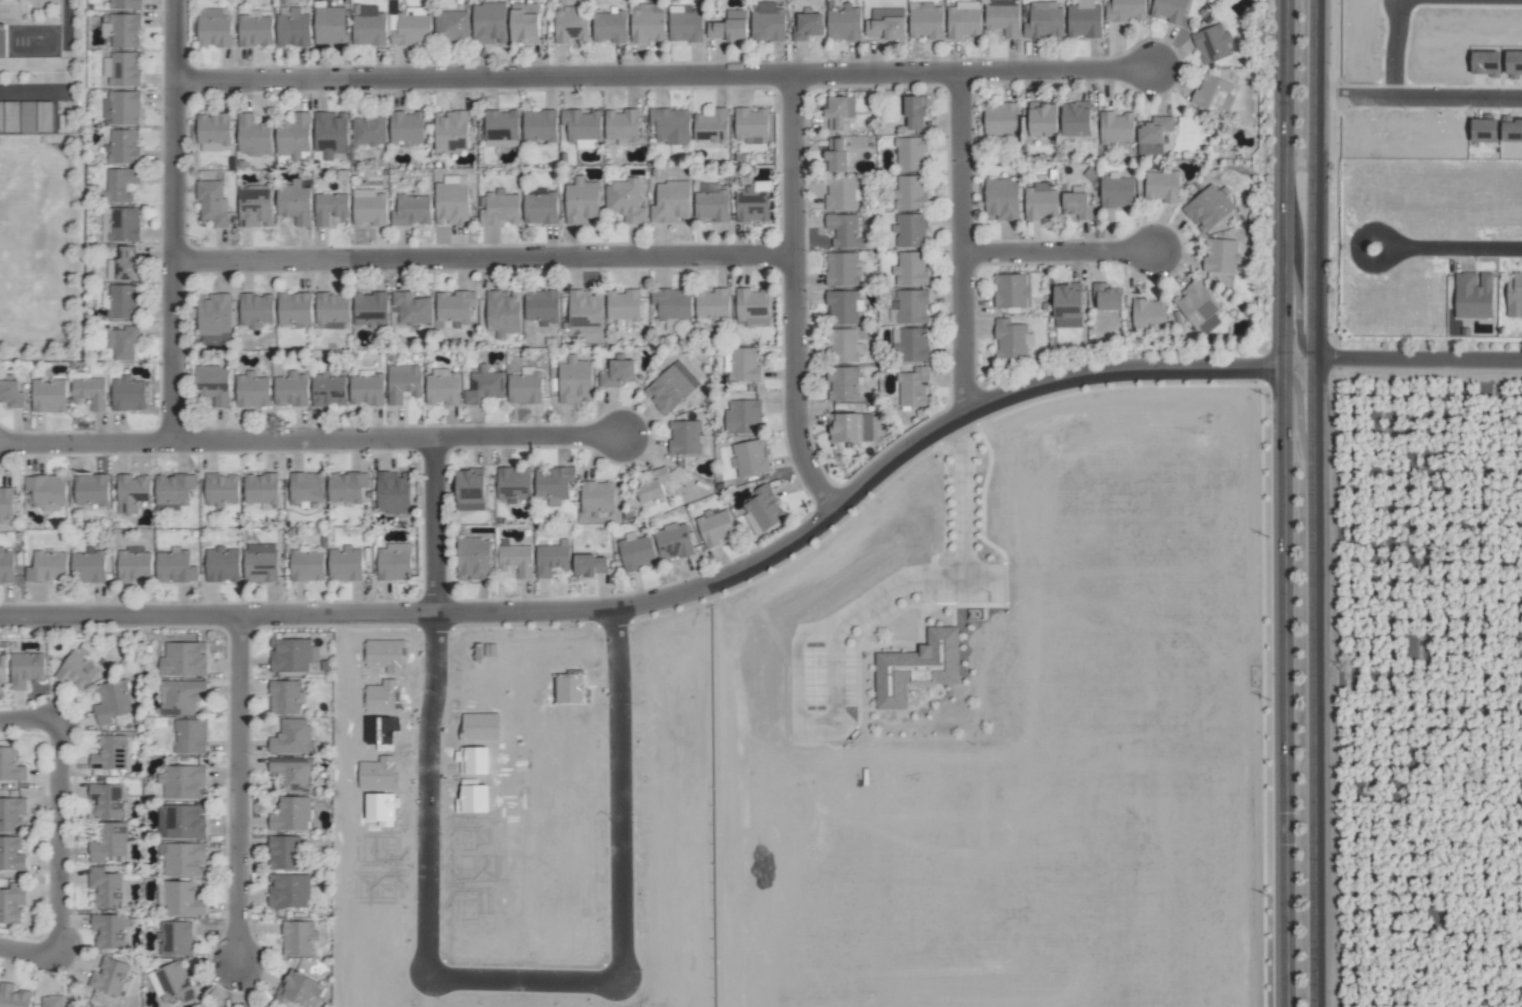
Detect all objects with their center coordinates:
building: (124, 4)
building: (1126, 10)
building: (1170, 10)
building: (1003, 19)
building: (1084, 19)
building: (926, 20)
building: (1044, 20)
building: (963, 21)
building: (489, 22)
building: (768, 22)
building: (647, 23)
building: (844, 23)
building: (887, 23)
building: (685, 24)
building: (329, 25)
building: (368, 25)
building: (571, 25)
building: (524, 26)
building: (609, 26)
building: (729, 26)
building: (808, 26)
building: (214, 27)
building: (451, 27)
building: (292, 28)
building: (122, 30)
building: (255, 30)
building: (1212, 43)
road: (66, 45)
building: (2, 47)
road: (1391, 49)
building: (122, 69)
road: (665, 75)
building: (1212, 92)
road: (1418, 99)
building: (122, 107)
building: (838, 111)
building: (915, 111)
building: (1001, 119)
building: (1043, 119)
building: (1077, 119)
building: (582, 124)
building: (621, 124)
building: (539, 125)
building: (711, 125)
building: (750, 125)
building: (671, 126)
building: (406, 127)
building: (213, 128)
building: (501, 128)
building: (369, 129)
building: (1116, 129)
building: (450, 131)
building: (330, 133)
building: (1155, 133)
building: (294, 134)
building: (253, 135)
building: (123, 146)
building: (836, 154)
building: (911, 154)
building: (120, 184)
building: (1162, 186)
building: (1117, 191)
building: (911, 192)
building: (842, 193)
building: (1002, 199)
building: (582, 200)
building: (625, 200)
building: (293, 202)
building: (1041, 202)
building: (212, 203)
building: (451, 203)
building: (671, 203)
building: (711, 205)
building: (752, 205)
building: (1078, 205)
building: (255, 206)
building: (369, 207)
building: (540, 207)
building: (330, 208)
building: (1209, 208)
building: (412, 210)
road: (175, 220)
building: (123, 225)
building: (911, 230)
building: (844, 231)
road: (963, 243)
road: (1357, 249)
road: (1463, 249)
road: (1059, 251)
road: (485, 256)
building: (1222, 256)
building: (124, 264)
building: (842, 269)
building: (911, 269)
building: (1013, 290)
building: (1474, 295)
building: (1514, 295)
road: (795, 297)
building: (1108, 297)
building: (713, 299)
building: (123, 301)
building: (582, 301)
building: (672, 303)
building: (624, 305)
building: (1068, 305)
building: (912, 306)
building: (1199, 306)
building: (454, 307)
building: (753, 307)
building: (844, 307)
building: (332, 308)
building: (370, 308)
building: (412, 308)
building: (294, 309)
building: (255, 310)
building: (503, 313)
building: (1149, 313)
road: (1297, 314)
building: (214, 316)
building: (1012, 339)
building: (123, 342)
building: (914, 345)
building: (844, 346)
road: (1417, 365)
building: (618, 373)
building: (575, 380)
building: (403, 382)
building: (214, 384)
building: (842, 384)
building: (484, 386)
building: (671, 387)
building: (914, 387)
building: (525, 388)
building: (291, 389)
building: (328, 389)
building: (442, 389)
building: (252, 390)
building: (366, 390)
building: (89, 391)
building: (11, 393)
building: (128, 394)
building: (48, 396)
building: (743, 417)
road: (1299, 418)
building: (851, 427)
road: (530, 437)
building: (685, 437)
road: (305, 439)
road: (87, 442)
building: (751, 458)
building: (514, 484)
building: (553, 484)
building: (653, 485)
building: (346, 487)
building: (261, 488)
building: (305, 488)
building: (91, 489)
building: (221, 490)
building: (173, 491)
building: (45, 492)
building: (393, 492)
building: (131, 493)
building: (598, 497)
building: (6, 503)
road: (1286, 503)
road: (1314, 503)
building: (763, 509)
road: (436, 525)
building: (715, 528)
building: (673, 541)
building: (636, 552)
building: (516, 558)
building: (552, 558)
building: (474, 559)
building: (394, 562)
building: (260, 563)
building: (134, 564)
building: (222, 564)
building: (345, 564)
building: (591, 565)
building: (6, 566)
building: (88, 566)
building: (175, 566)
building: (307, 566)
building: (47, 567)
road: (673, 597)
road: (843, 622)
building: (292, 655)
building: (183, 659)
building: (917, 668)
building: (2, 669)
building: (26, 669)
building: (77, 671)
building: (181, 697)
building: (285, 697)
crop: (1411, 699)
building: (112, 701)
road: (30, 720)
building: (190, 736)
building: (293, 737)
crop: (871, 748)
building: (110, 753)
building: (10, 765)
building: (294, 774)
building: (183, 782)
road: (240, 788)
building: (107, 801)
building: (11, 814)
building: (291, 815)
road: (59, 837)
building: (109, 843)
building: (285, 853)
building: (11, 855)
building: (184, 860)
building: (107, 888)
building: (288, 891)
building: (182, 900)
building: (11, 903)
building: (109, 931)
building: (298, 938)
building: (176, 939)
road: (29, 951)
building: (109, 977)
road: (528, 980)
building: (174, 982)
building: (301, 990)
building: (13, 997)
building: (58, 1002)

